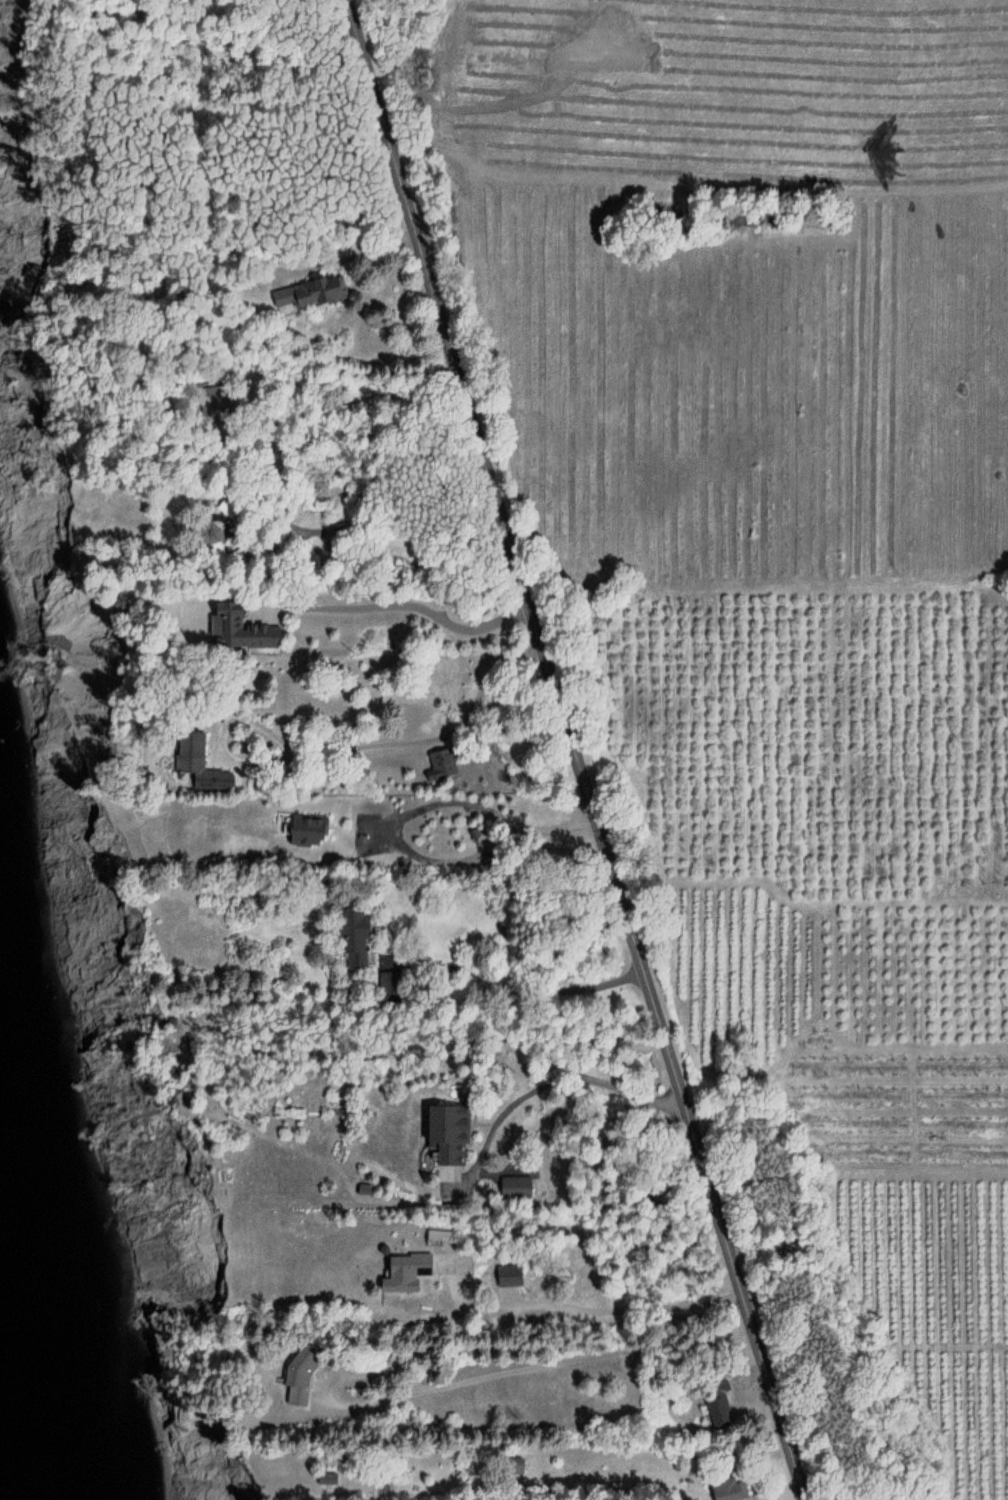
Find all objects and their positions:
building: (320, 294)
road: (385, 525)
building: (250, 629)
road: (409, 745)
road: (575, 748)
building: (207, 765)
building: (443, 766)
building: (309, 831)
building: (364, 938)
building: (456, 1143)
building: (513, 1186)
building: (411, 1275)
building: (516, 1278)
road: (551, 1368)
building: (308, 1382)
building: (725, 1414)
road: (604, 1448)
building: (339, 1482)
building: (736, 1490)

